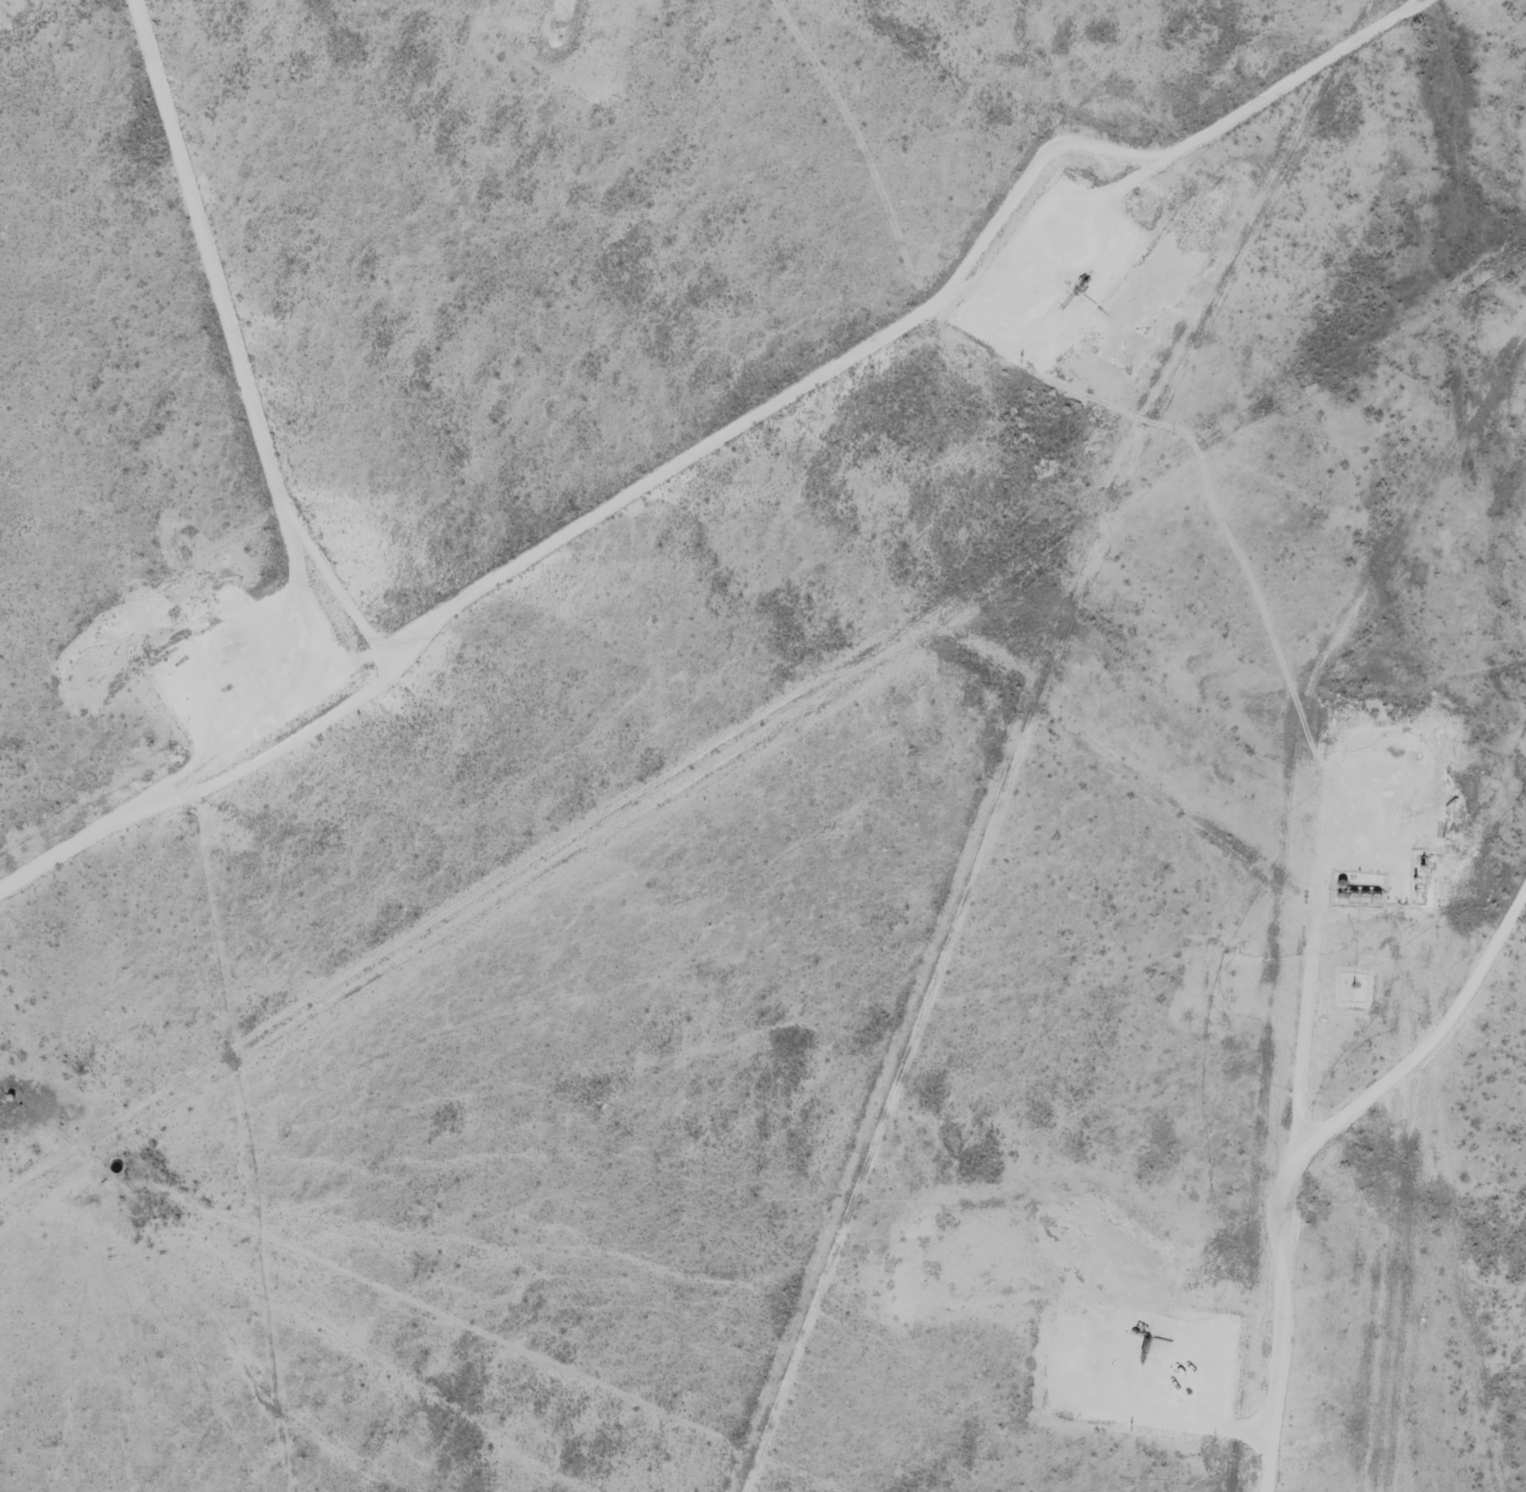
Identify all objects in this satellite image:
road: (238, 338)
road: (733, 437)
road: (1435, 1034)
road: (1290, 1161)

